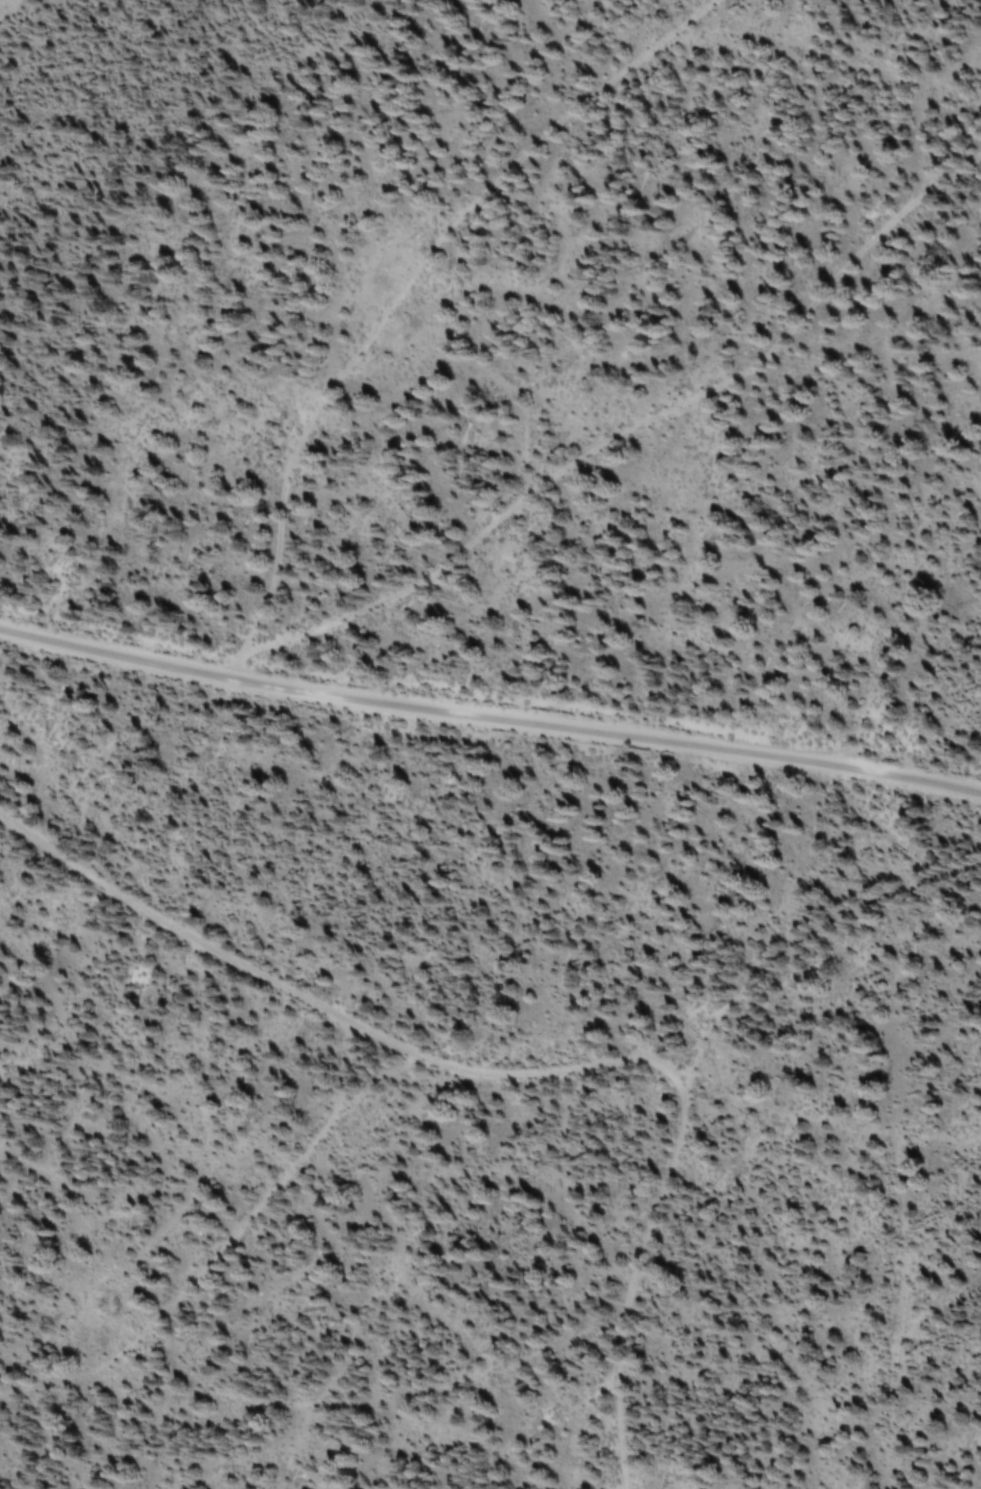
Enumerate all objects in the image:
road: (489, 718)
road: (510, 1046)

